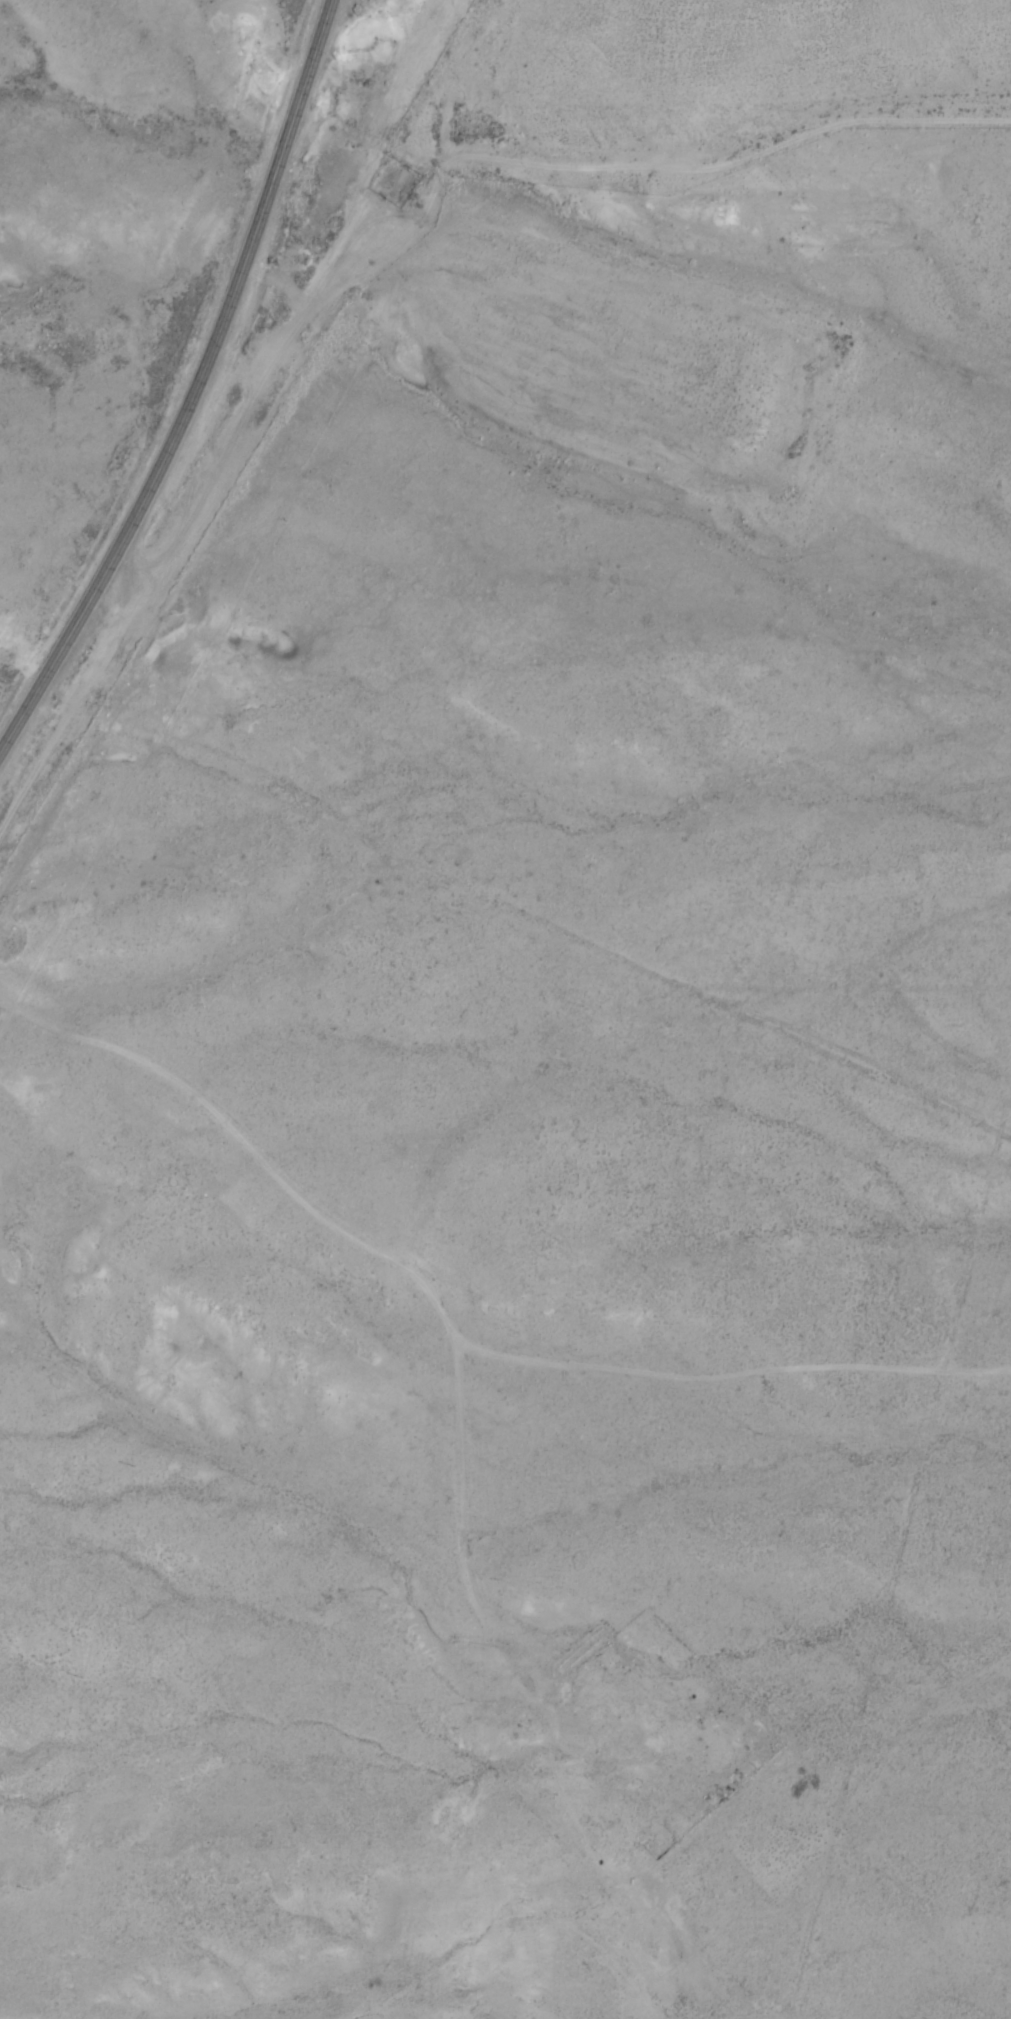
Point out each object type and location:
road: (198, 386)

